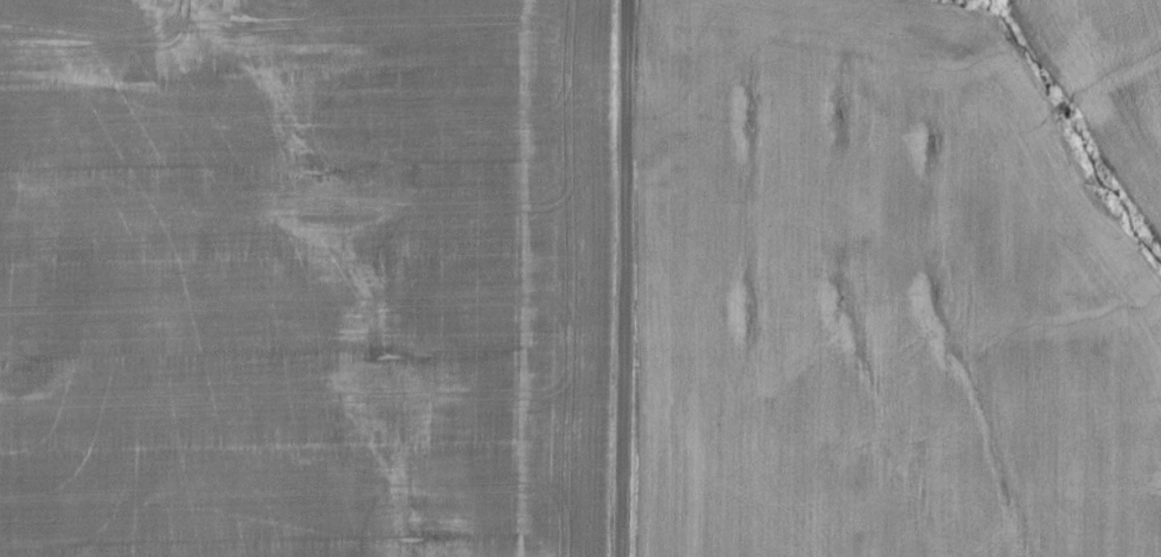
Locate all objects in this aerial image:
road: (620, 278)

